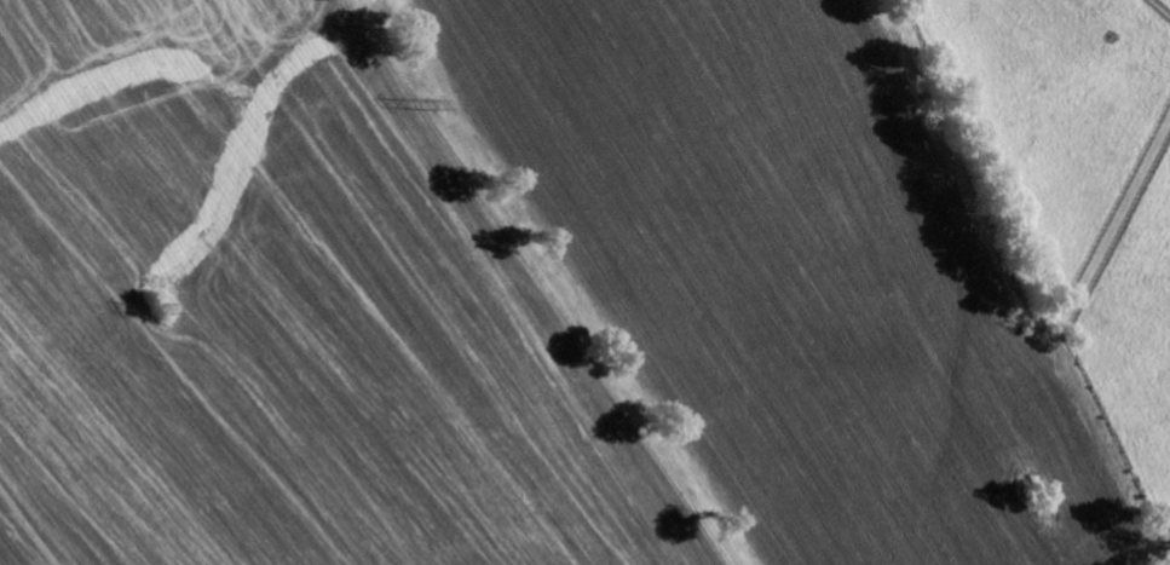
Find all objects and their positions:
power tower: (436, 100)
power tower: (169, 313)

